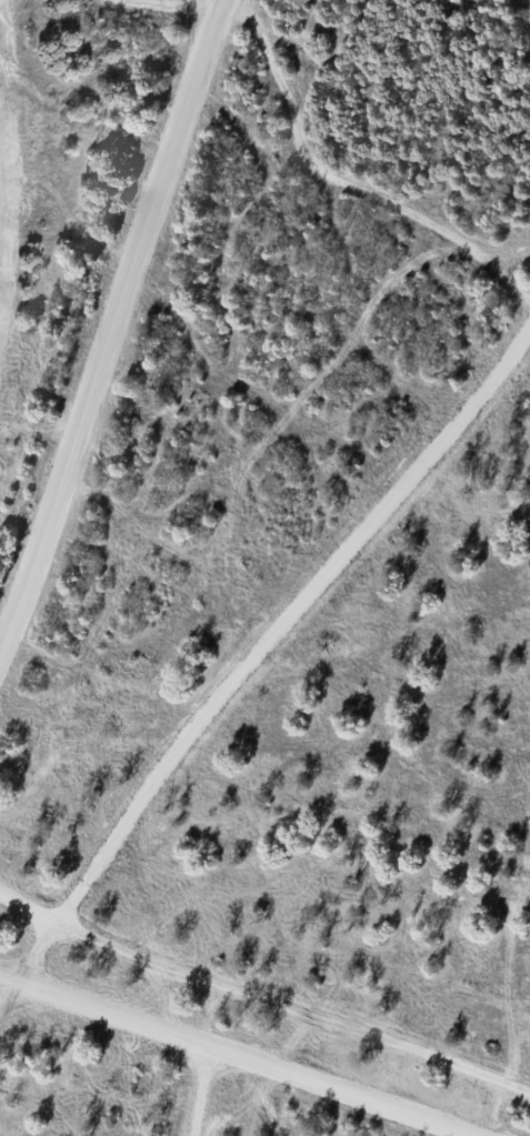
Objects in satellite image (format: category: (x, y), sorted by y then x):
road: (1, 255)
road: (119, 324)
road: (262, 997)
road: (239, 1055)

